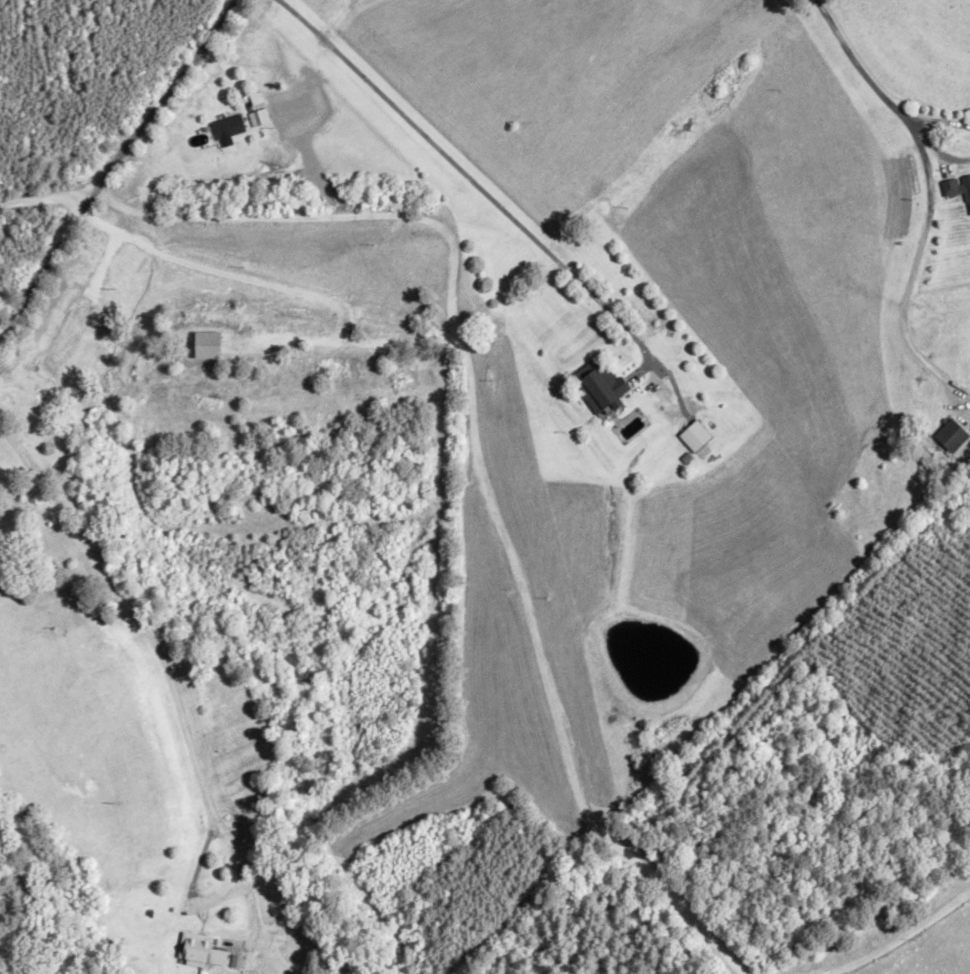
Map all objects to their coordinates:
building: (227, 127)
road: (107, 167)
building: (957, 189)
road: (930, 190)
building: (604, 390)
building: (954, 439)
building: (699, 440)
building: (47, 557)
building: (204, 953)

